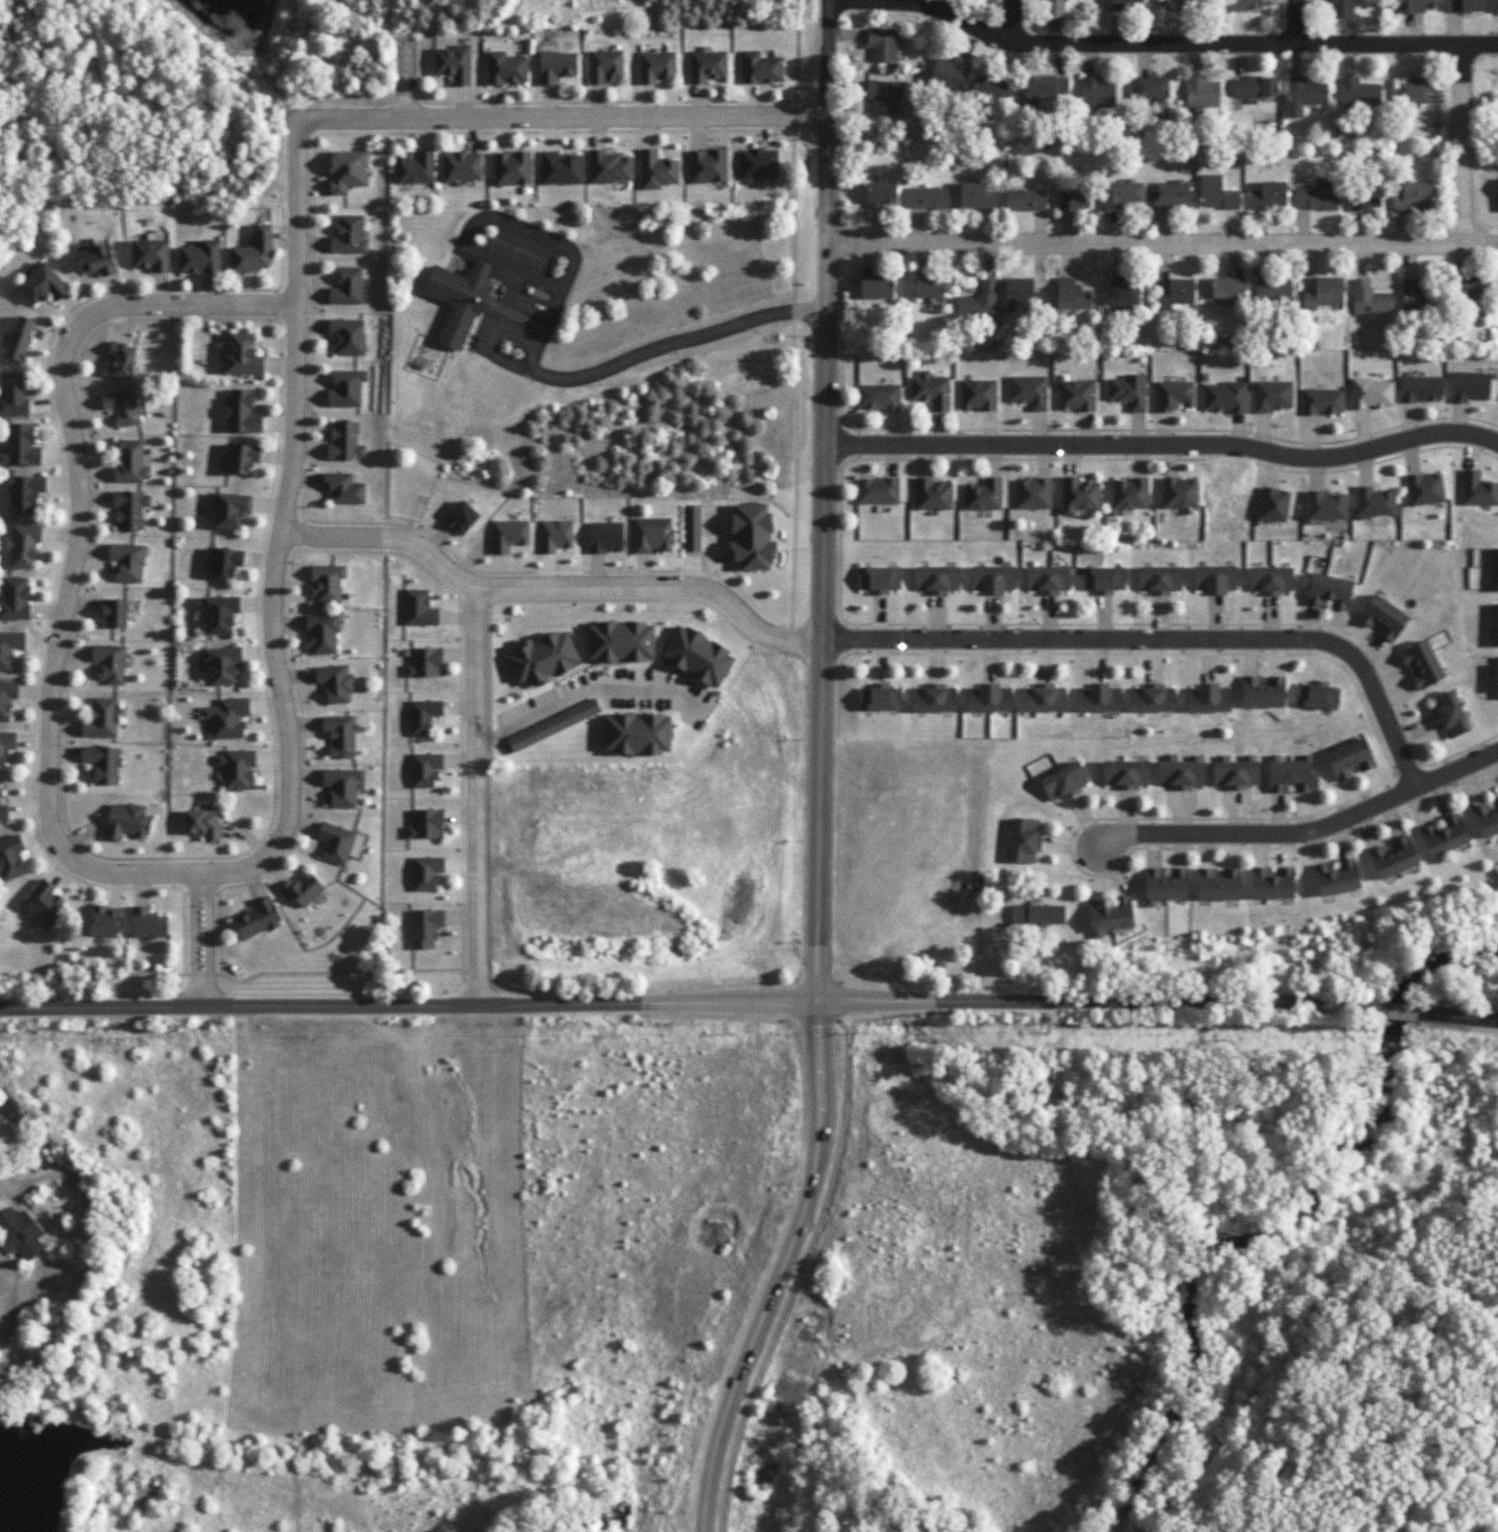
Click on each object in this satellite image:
building: (1125, 4)
building: (1179, 4)
building: (1244, 5)
building: (1414, 5)
building: (1465, 5)
building: (1497, 5)
building: (1054, 8)
building: (1341, 9)
road: (1014, 21)
road: (1295, 23)
building: (882, 44)
road: (1159, 45)
building: (454, 63)
building: (556, 66)
building: (605, 66)
building: (657, 66)
building: (707, 66)
building: (506, 68)
building: (761, 68)
building: (950, 73)
building: (1046, 85)
building: (1255, 86)
building: (1151, 87)
building: (995, 88)
building: (1097, 92)
building: (1202, 92)
building: (1359, 92)
building: (1413, 93)
building: (1304, 95)
building: (883, 96)
road: (561, 119)
road: (1460, 145)
building: (758, 164)
building: (707, 166)
building: (462, 167)
building: (609, 167)
building: (512, 168)
building: (561, 168)
building: (416, 169)
building: (657, 170)
building: (347, 171)
building: (1217, 193)
building: (881, 194)
building: (1121, 194)
building: (1172, 195)
building: (1269, 195)
building: (1412, 196)
building: (1497, 196)
building: (977, 197)
building: (1318, 197)
building: (1365, 197)
building: (929, 198)
building: (1074, 199)
building: (1025, 200)
road: (499, 220)
building: (349, 236)
road: (1161, 244)
building: (85, 245)
building: (254, 252)
building: (151, 254)
building: (201, 257)
building: (97, 260)
road: (542, 278)
building: (43, 285)
building: (347, 287)
building: (1473, 287)
building: (876, 288)
building: (929, 288)
building: (1228, 288)
building: (1273, 292)
building: (1324, 293)
building: (1022, 294)
building: (1122, 294)
building: (1175, 294)
building: (1419, 294)
building: (1072, 295)
building: (462, 299)
building: (1369, 299)
building: (979, 302)
building: (347, 336)
building: (20, 339)
road: (652, 349)
building: (241, 355)
building: (122, 359)
building: (1470, 386)
building: (346, 388)
building: (1421, 389)
building: (931, 390)
building: (1028, 391)
building: (1129, 391)
building: (1371, 393)
building: (14, 394)
building: (978, 395)
building: (1077, 395)
building: (1174, 395)
building: (1273, 396)
building: (878, 397)
building: (1224, 397)
building: (1323, 401)
building: (122, 407)
building: (242, 413)
building: (345, 442)
building: (20, 446)
road: (1165, 447)
building: (242, 458)
building: (131, 462)
building: (343, 488)
building: (1425, 489)
building: (1478, 490)
building: (877, 491)
building: (1180, 492)
building: (24, 493)
building: (1033, 493)
building: (1130, 493)
building: (932, 494)
building: (984, 494)
building: (1079, 495)
road: (824, 500)
building: (1375, 502)
building: (1274, 505)
building: (1326, 506)
building: (230, 509)
building: (130, 510)
building: (461, 518)
building: (692, 528)
road: (280, 532)
building: (509, 535)
building: (555, 535)
building: (652, 535)
building: (606, 537)
building: (752, 537)
building: (23, 545)
road: (77, 549)
building: (128, 562)
building: (225, 562)
building: (878, 579)
building: (936, 579)
building: (992, 579)
building: (1048, 579)
building: (1103, 579)
building: (1215, 579)
building: (1159, 580)
building: (1270, 580)
building: (1497, 581)
building: (327, 583)
road: (552, 585)
building: (1330, 591)
building: (15, 598)
building: (418, 608)
building: (115, 613)
building: (219, 614)
building: (1383, 617)
building: (1497, 626)
building: (322, 633)
road: (1161, 639)
building: (621, 641)
building: (10, 648)
building: (698, 656)
building: (543, 658)
building: (424, 662)
building: (110, 663)
building: (1422, 664)
building: (222, 665)
building: (335, 683)
road: (586, 691)
building: (1263, 692)
building: (1317, 695)
building: (7, 697)
building: (880, 698)
building: (934, 698)
building: (989, 698)
building: (1043, 698)
building: (1099, 698)
building: (1153, 698)
building: (1208, 698)
building: (1449, 715)
building: (423, 716)
building: (103, 718)
building: (227, 718)
building: (553, 725)
building: (638, 734)
building: (340, 736)
building: (6, 746)
building: (1351, 760)
building: (103, 763)
road: (1456, 768)
building: (237, 769)
building: (425, 769)
building: (1236, 772)
building: (1182, 773)
building: (1126, 774)
building: (1291, 775)
building: (1064, 782)
building: (342, 786)
road: (475, 795)
building: (3, 812)
building: (1486, 820)
building: (127, 821)
building: (425, 824)
building: (202, 825)
road: (1258, 833)
building: (1445, 836)
building: (1025, 840)
building: (339, 843)
building: (10, 858)
building: (1394, 858)
building: (426, 873)
building: (1337, 878)
building: (1272, 883)
building: (1218, 884)
building: (1165, 885)
building: (302, 890)
building: (46, 903)
building: (1037, 914)
building: (1110, 917)
building: (257, 919)
building: (105, 921)
building: (148, 923)
building: (425, 927)
road: (194, 940)
road: (209, 941)
park: (1304, 952)
road: (689, 1002)
road: (1396, 1011)
road: (1456, 1016)
road: (10, 1186)
building: (20, 1234)
road: (781, 1269)

